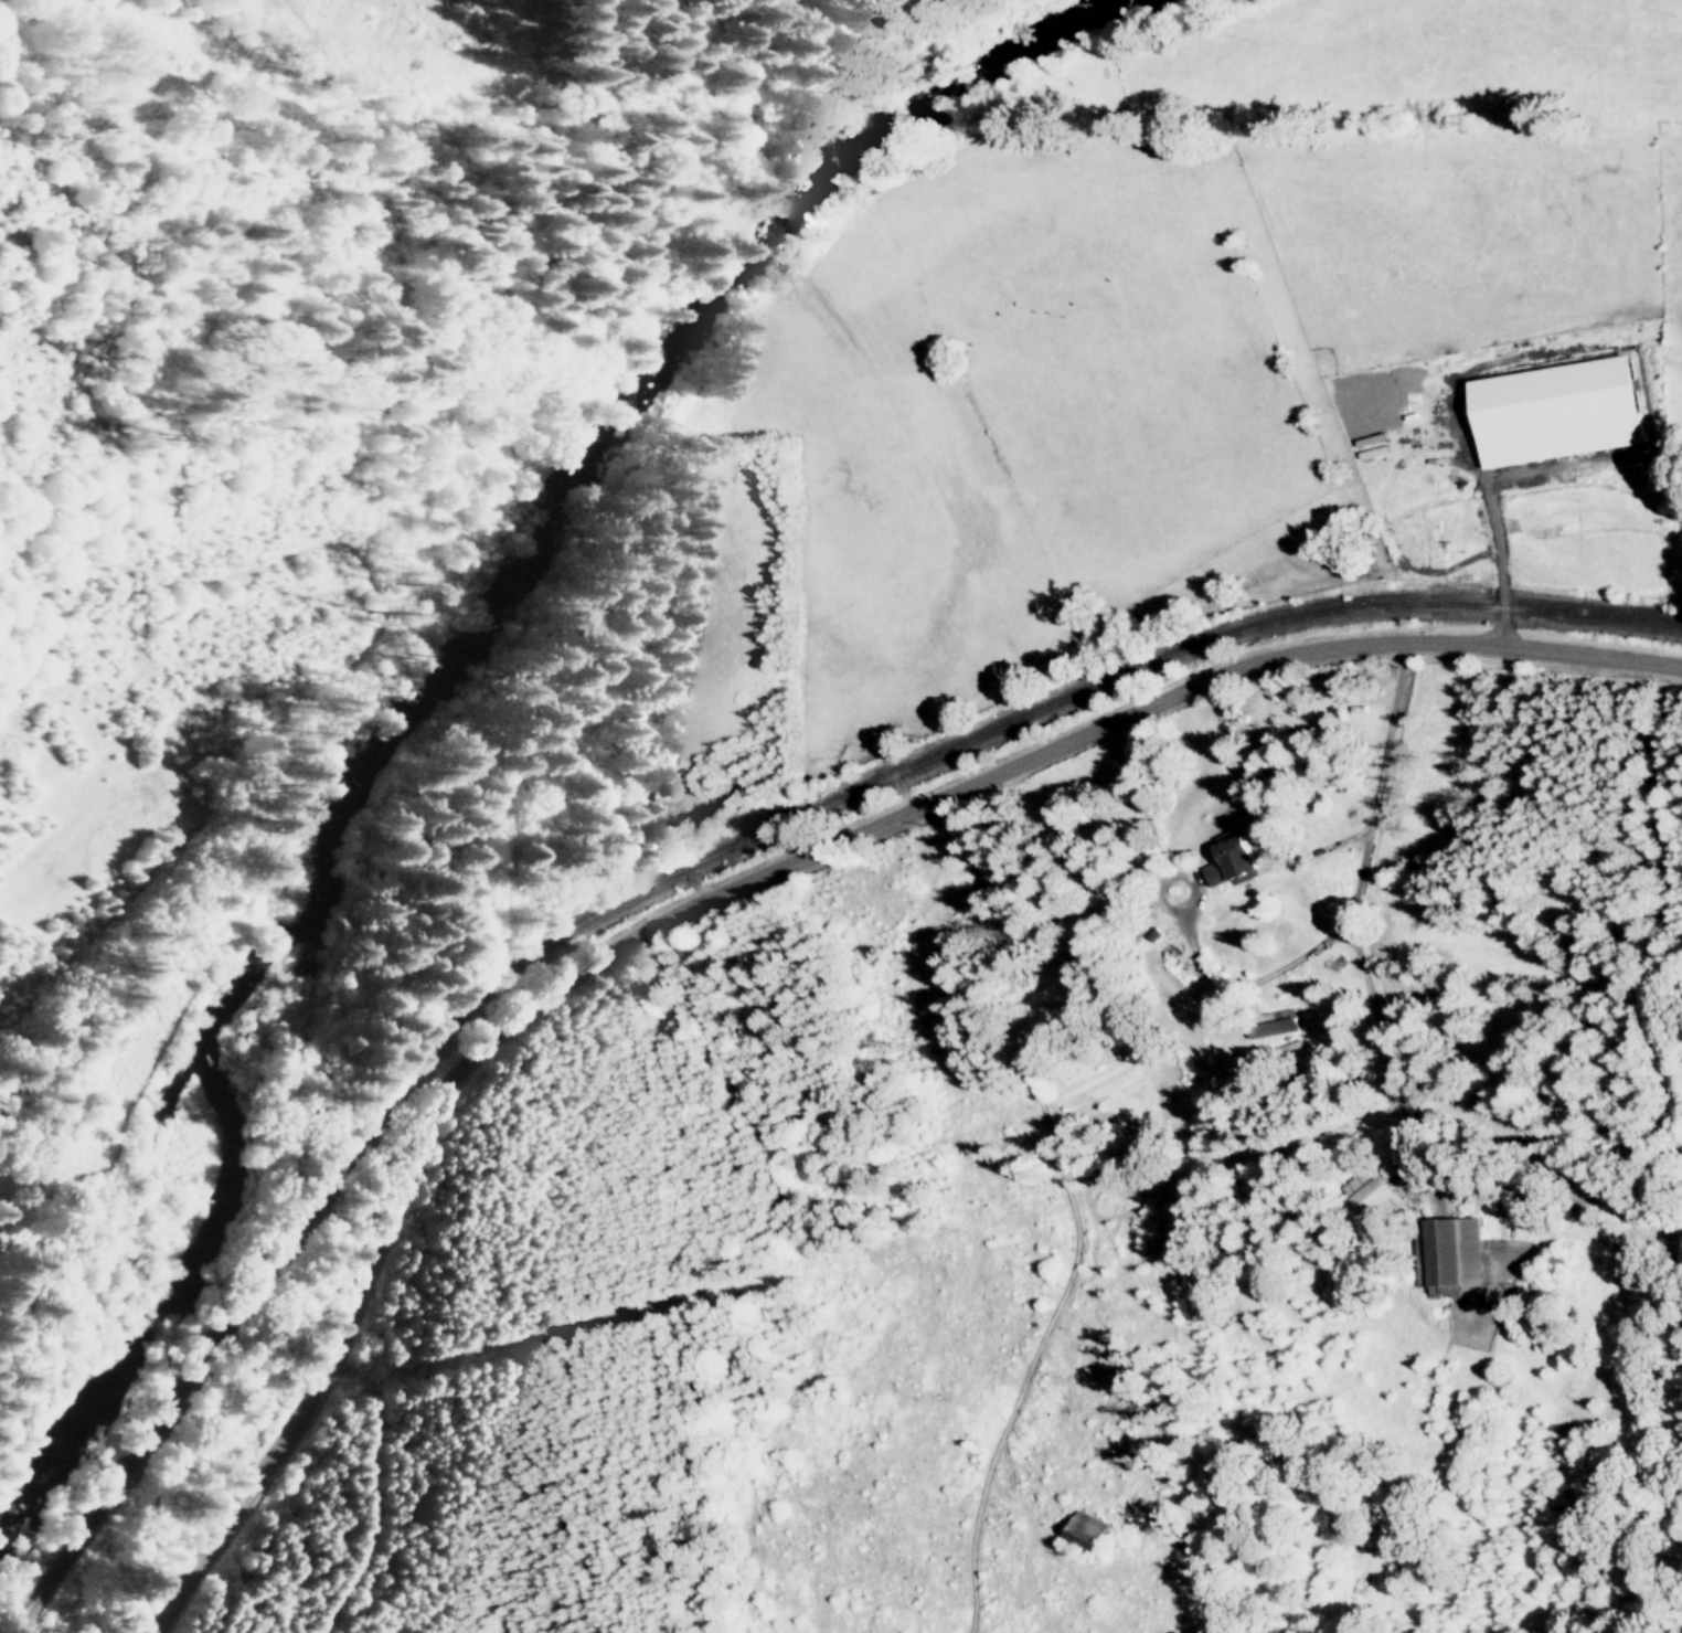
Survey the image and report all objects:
building: (1563, 410)
road: (1492, 517)
river: (432, 667)
building: (1235, 860)
railway: (690, 861)
road: (745, 882)
road: (1350, 908)
building: (1276, 1022)
road: (1384, 1048)
building: (1378, 1194)
building: (1455, 1250)

